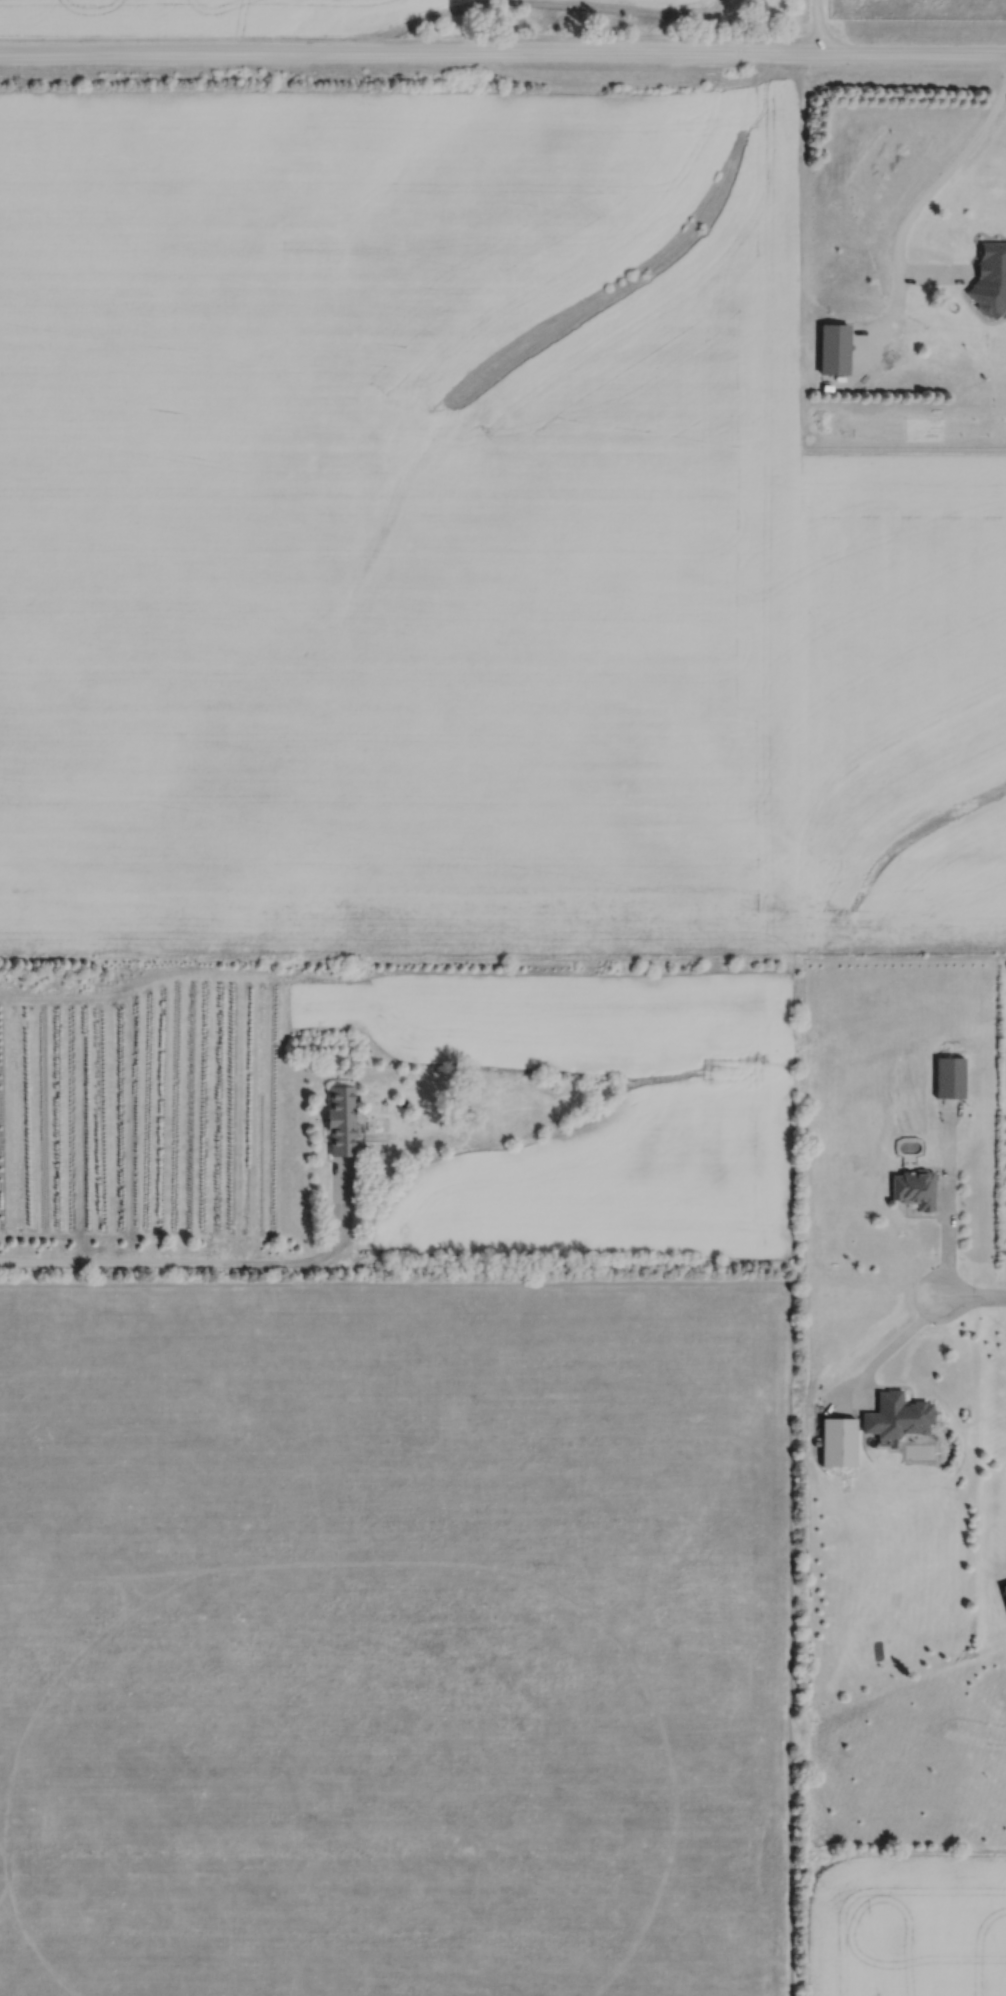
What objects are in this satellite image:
road: (816, 27)
road: (503, 53)
road: (917, 204)
building: (992, 264)
building: (951, 1077)
building: (341, 1120)
building: (914, 1188)
road: (945, 1243)
road: (181, 1262)
road: (973, 1298)
road: (895, 1341)
building: (893, 1414)
building: (837, 1441)

